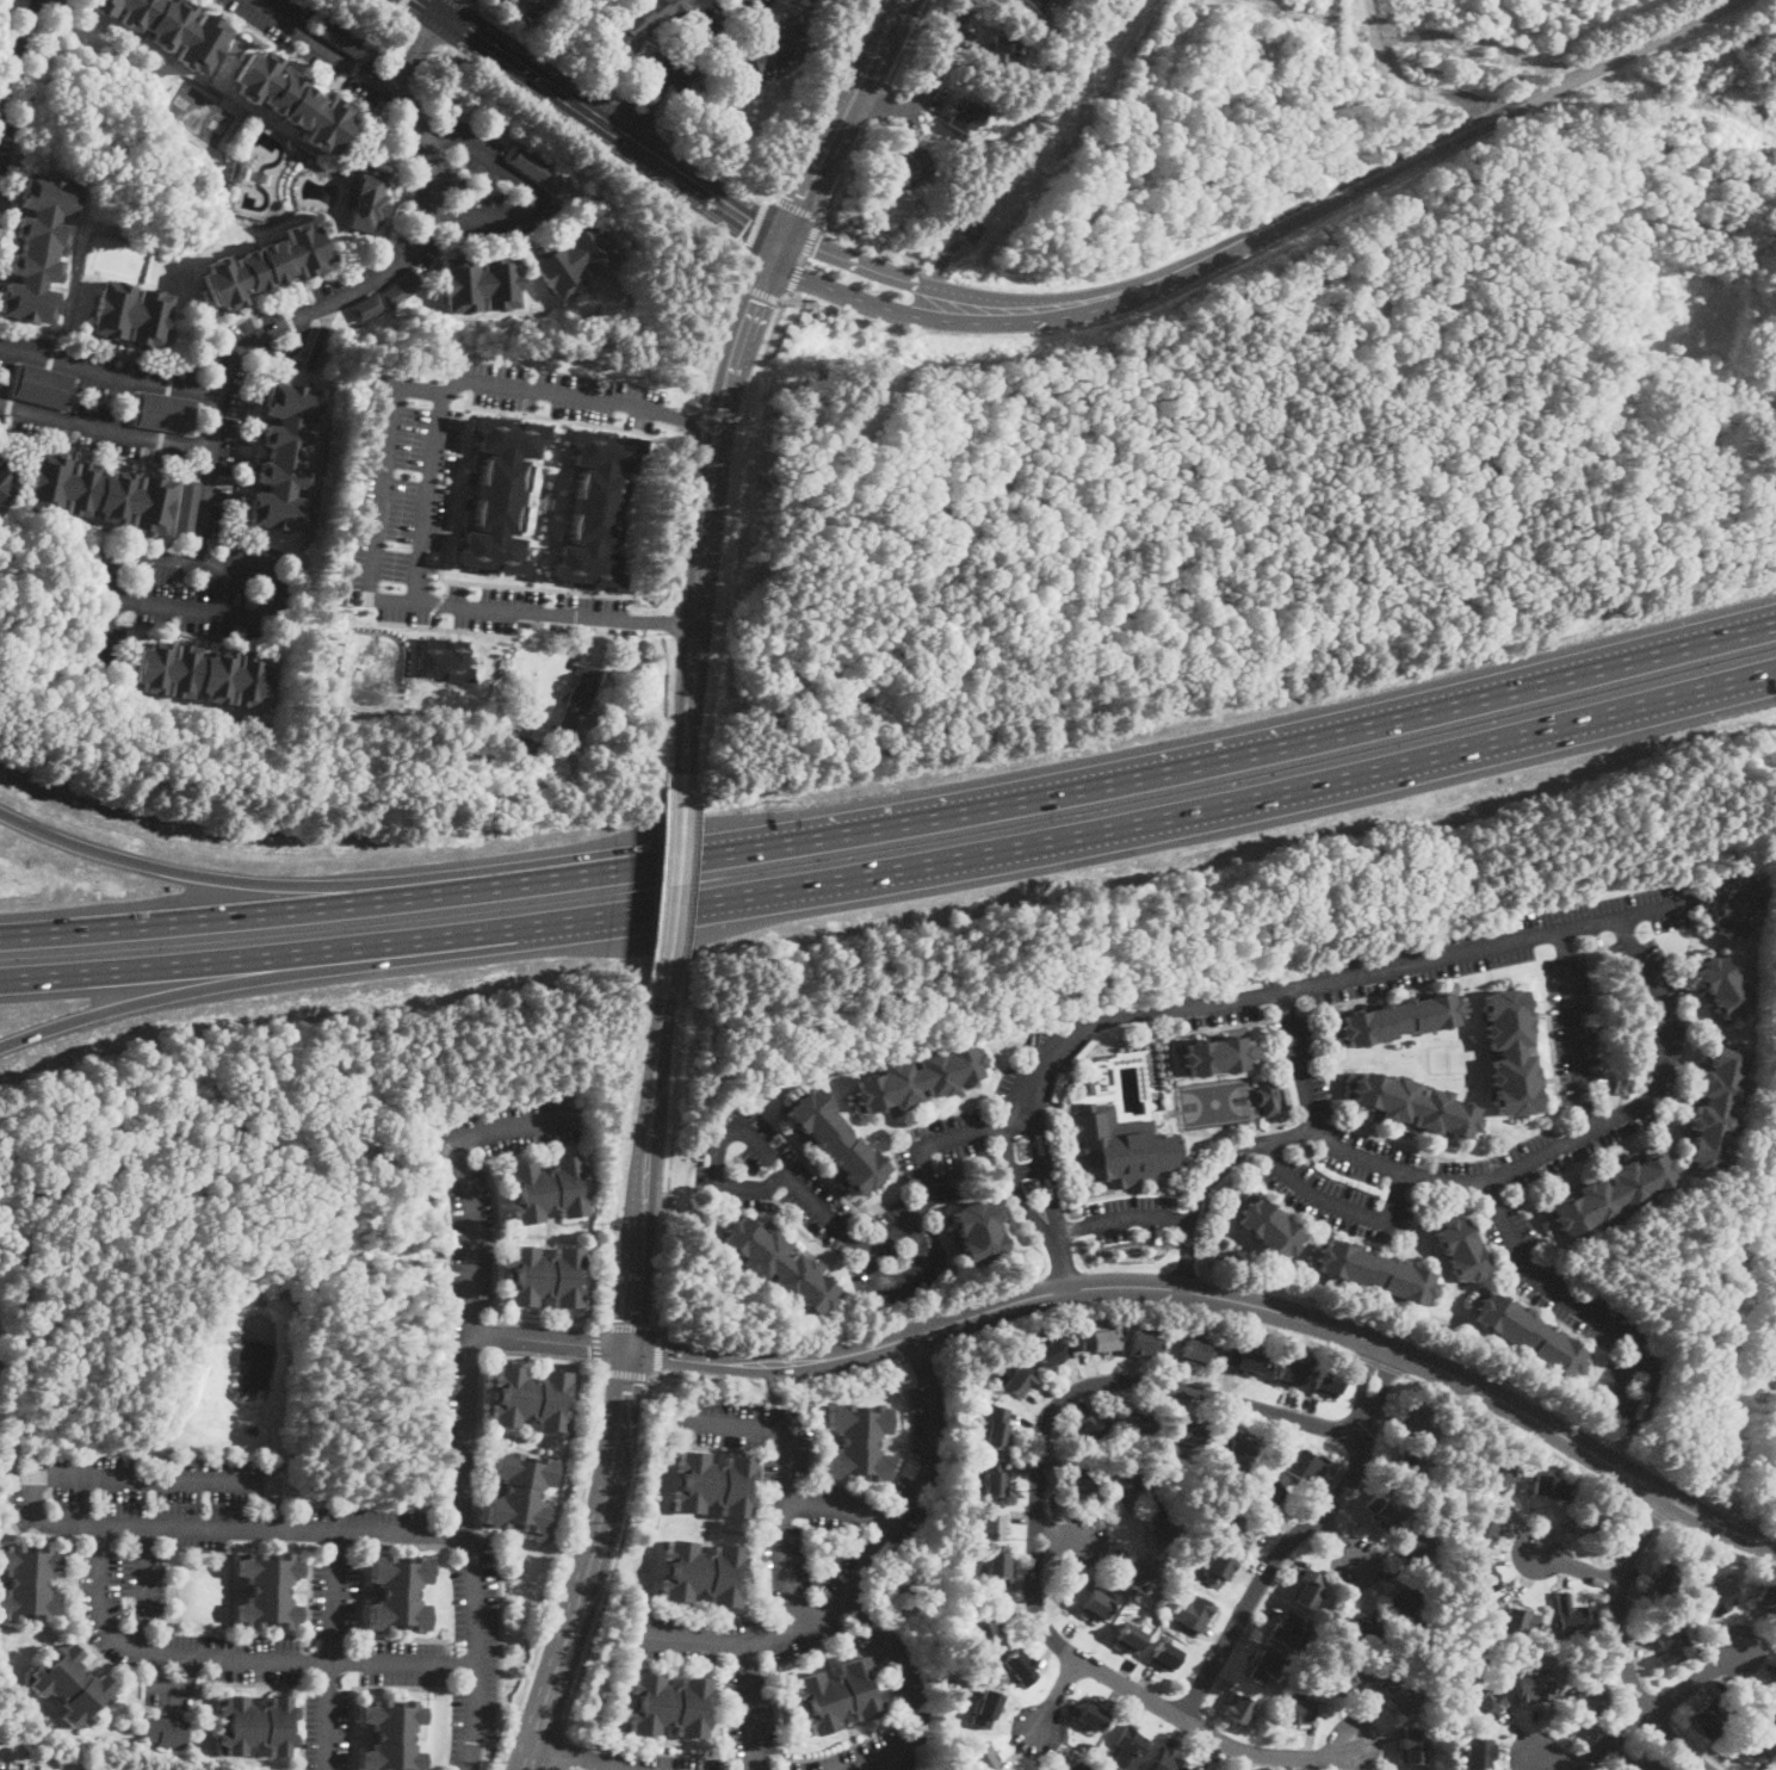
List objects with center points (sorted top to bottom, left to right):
building: (825, 1)
road: (477, 4)
building: (1039, 4)
building: (526, 6)
road: (458, 10)
road: (395, 12)
road: (428, 12)
building: (639, 24)
building: (172, 27)
road: (429, 36)
building: (342, 38)
road: (16, 50)
building: (773, 50)
road: (549, 52)
building: (1002, 52)
road: (419, 54)
road: (681, 64)
road: (929, 81)
road: (1406, 82)
road: (827, 93)
building: (292, 100)
road: (636, 113)
building: (966, 117)
road: (601, 120)
road: (843, 120)
road: (1034, 143)
building: (912, 166)
building: (235, 169)
building: (537, 169)
road: (720, 169)
road: (846, 172)
building: (462, 185)
road: (1350, 186)
road: (536, 192)
building: (367, 199)
road: (670, 199)
traffic signals: (803, 200)
building: (923, 204)
road: (797, 208)
traffic signals: (748, 223)
building: (332, 224)
road: (754, 224)
road: (868, 245)
traffic signals: (816, 246)
building: (38, 248)
road: (804, 255)
building: (573, 258)
road: (871, 265)
building: (264, 266)
road: (388, 276)
road: (738, 281)
building: (482, 283)
building: (401, 289)
road: (760, 291)
road: (858, 295)
traffic signals: (755, 298)
road: (781, 302)
building: (367, 308)
road: (750, 308)
building: (132, 314)
road: (290, 353)
road: (109, 377)
building: (43, 386)
parking lot: (559, 392)
building: (166, 413)
road: (681, 417)
road: (576, 420)
road: (105, 429)
road: (562, 453)
building: (285, 457)
road: (573, 464)
road: (542, 465)
road: (735, 469)
building: (5, 482)
road: (558, 487)
building: (99, 493)
road: (382, 493)
building: (499, 493)
road: (708, 497)
road: (426, 499)
building: (595, 507)
building: (186, 509)
road: (685, 515)
road: (532, 531)
road: (562, 540)
road: (546, 551)
road: (135, 557)
road: (465, 580)
road: (446, 586)
road: (432, 607)
parking lot: (530, 607)
road: (212, 613)
road: (670, 621)
road: (444, 627)
building: (445, 658)
building: (202, 674)
building: (582, 691)
road: (692, 697)
road: (670, 700)
building: (524, 741)
road: (895, 818)
road: (896, 865)
road: (241, 877)
road: (658, 881)
road: (675, 884)
road: (688, 884)
building: (1735, 906)
road: (1325, 983)
road: (216, 984)
building: (1721, 988)
building: (1397, 1019)
road: (1573, 1033)
building: (1510, 1051)
building: (1215, 1054)
road: (1298, 1060)
building: (918, 1079)
building: (1621, 1082)
building: (1087, 1087)
building: (1267, 1096)
park: (1215, 1101)
building: (1715, 1102)
road: (630, 1103)
building: (1413, 1106)
road: (1293, 1134)
road: (1573, 1140)
building: (835, 1141)
road: (527, 1147)
building: (1121, 1149)
building: (1306, 1150)
building: (1768, 1159)
road: (670, 1166)
road: (1028, 1170)
road: (646, 1171)
building: (955, 1171)
road: (1221, 1172)
road: (1046, 1178)
road: (717, 1186)
building: (1033, 1187)
road: (1017, 1189)
building: (546, 1190)
building: (1613, 1193)
road: (1343, 1203)
road: (1126, 1219)
road: (495, 1226)
building: (1268, 1227)
building: (977, 1232)
road: (889, 1236)
building: (1460, 1250)
road: (1187, 1257)
building: (779, 1265)
road: (1066, 1269)
building: (1374, 1271)
road: (912, 1275)
building: (545, 1276)
road: (1567, 1301)
road: (1149, 1305)
road: (629, 1325)
road: (600, 1326)
building: (1528, 1335)
road: (1363, 1337)
building: (1775, 1337)
building: (1104, 1339)
road: (550, 1341)
building: (1144, 1342)
road: (596, 1344)
traffic signals: (632, 1350)
road: (530, 1351)
road: (658, 1351)
building: (1195, 1351)
road: (920, 1354)
building: (1048, 1354)
building: (1243, 1360)
road: (774, 1362)
road: (1384, 1364)
building: (1775, 1367)
building: (1288, 1372)
road: (626, 1373)
building: (1017, 1381)
building: (1326, 1382)
road: (466, 1393)
building: (531, 1398)
building: (988, 1407)
building: (1615, 1416)
building: (1416, 1417)
building: (1626, 1423)
building: (1140, 1424)
building: (997, 1428)
building: (1091, 1429)
building: (1184, 1434)
road: (1522, 1434)
building: (858, 1442)
building: (1233, 1446)
road: (638, 1455)
building: (1406, 1462)
building: (1304, 1467)
road: (785, 1474)
road: (122, 1475)
building: (1497, 1475)
building: (995, 1478)
building: (1077, 1481)
building: (713, 1484)
building: (1548, 1485)
building: (1124, 1486)
road: (886, 1487)
building: (521, 1491)
building: (1269, 1493)
road: (840, 1508)
road: (1653, 1510)
building: (1381, 1511)
building: (1594, 1522)
building: (1162, 1524)
building: (991, 1525)
building: (1483, 1529)
road: (1039, 1531)
building: (1240, 1533)
road: (1299, 1535)
road: (1068, 1542)
road: (1344, 1547)
road: (1722, 1547)
building: (1416, 1552)
road: (594, 1562)
building: (997, 1564)
road: (1579, 1566)
building: (1218, 1567)
road: (865, 1571)
building: (703, 1573)
building: (507, 1576)
building: (1138, 1576)
building: (1484, 1576)
building: (1663, 1577)
building: (816, 1580)
building: (27, 1582)
road: (100, 1582)
road: (146, 1588)
building: (1306, 1589)
building: (268, 1590)
building: (397, 1592)
building: (1720, 1596)
road: (1633, 1602)
building: (1766, 1602)
building: (1097, 1607)
building: (1406, 1608)
building: (1194, 1613)
building: (1572, 1616)
building: (1516, 1619)
building: (1359, 1626)
building: (1287, 1630)
building: (986, 1632)
building: (1130, 1638)
road: (1623, 1642)
building: (1672, 1644)
road: (332, 1650)
building: (1164, 1655)
building: (1263, 1664)
building: (1020, 1667)
building: (1775, 1678)
building: (1347, 1681)
building: (70, 1684)
building: (1535, 1685)
road: (916, 1688)
road: (171, 1689)
building: (839, 1695)
building: (1400, 1695)
building: (1590, 1698)
building: (668, 1704)
road: (1056, 1704)
building: (1487, 1706)
road: (1661, 1707)
road: (750, 1708)
building: (986, 1708)
building: (1238, 1708)
building: (1299, 1710)
building: (1093, 1716)
road: (1648, 1719)
building: (1708, 1719)
building: (258, 1725)
building: (166, 1729)
building: (394, 1735)
building: (1412, 1744)
building: (1749, 1746)
building: (1130, 1747)
road: (1701, 1747)
road: (557, 1749)
building: (1479, 1751)
road: (570, 1758)
building: (984, 1758)
building: (1167, 1759)
building: (1641, 1765)
building: (1774, 1765)
building: (1076, 1766)
building: (1, 1768)
building: (11, 1768)
building: (25, 1769)
building: (1198, 1769)

